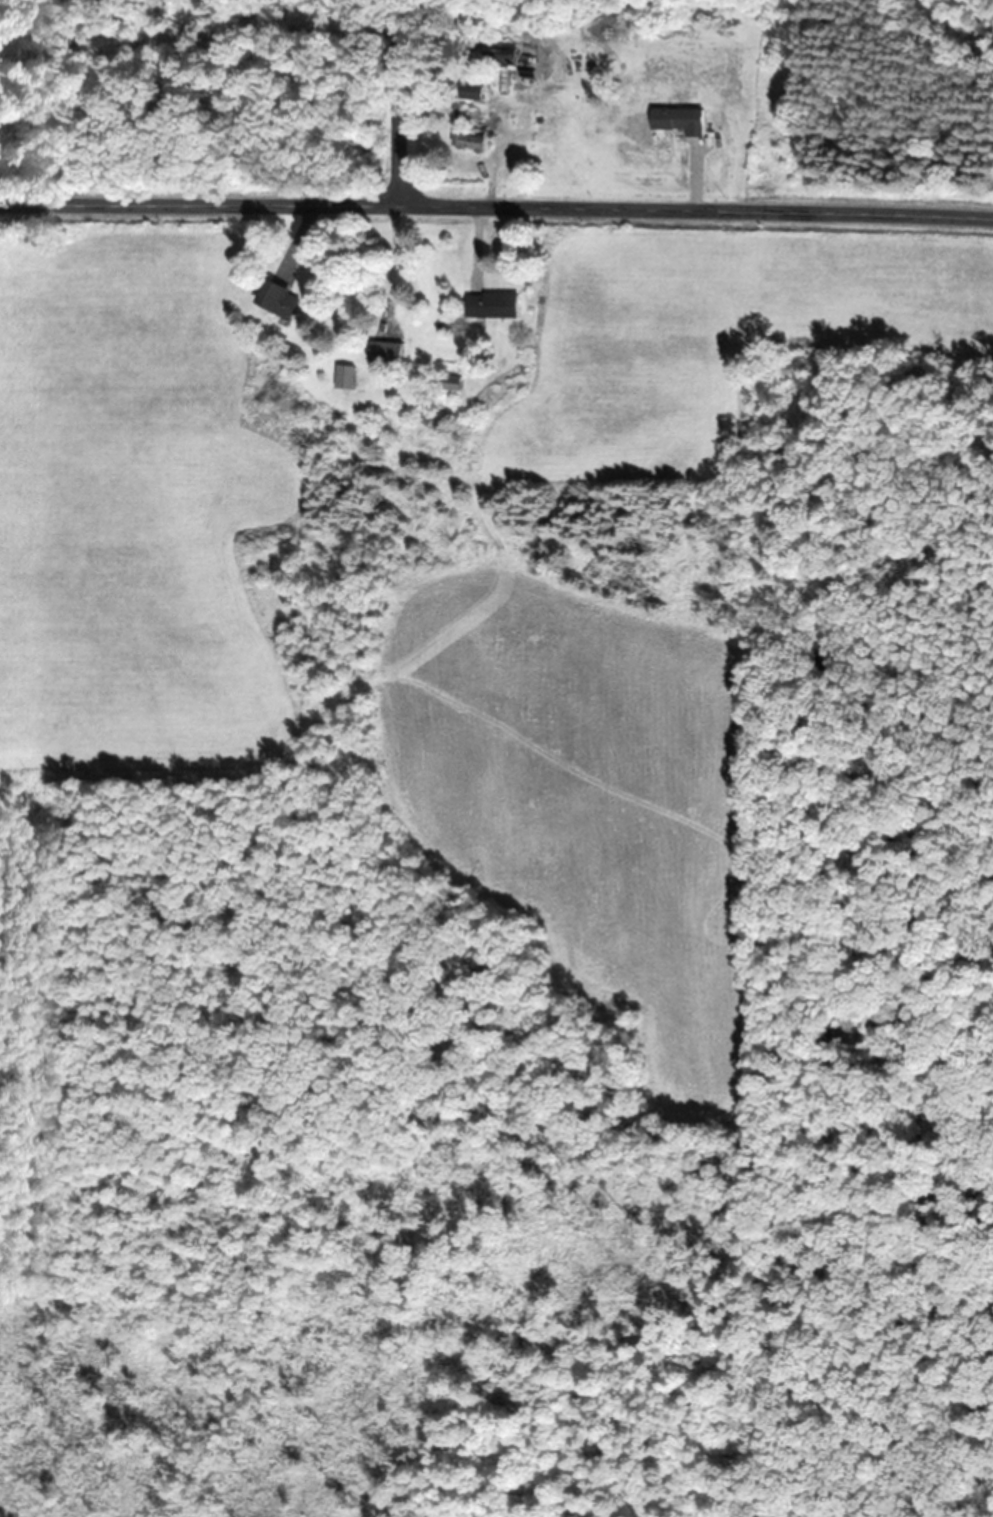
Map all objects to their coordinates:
building: (500, 53)
park: (880, 90)
road: (405, 100)
building: (677, 119)
building: (467, 137)
road: (496, 201)
building: (276, 299)
building: (490, 305)
building: (384, 353)
building: (342, 376)
building: (450, 382)

